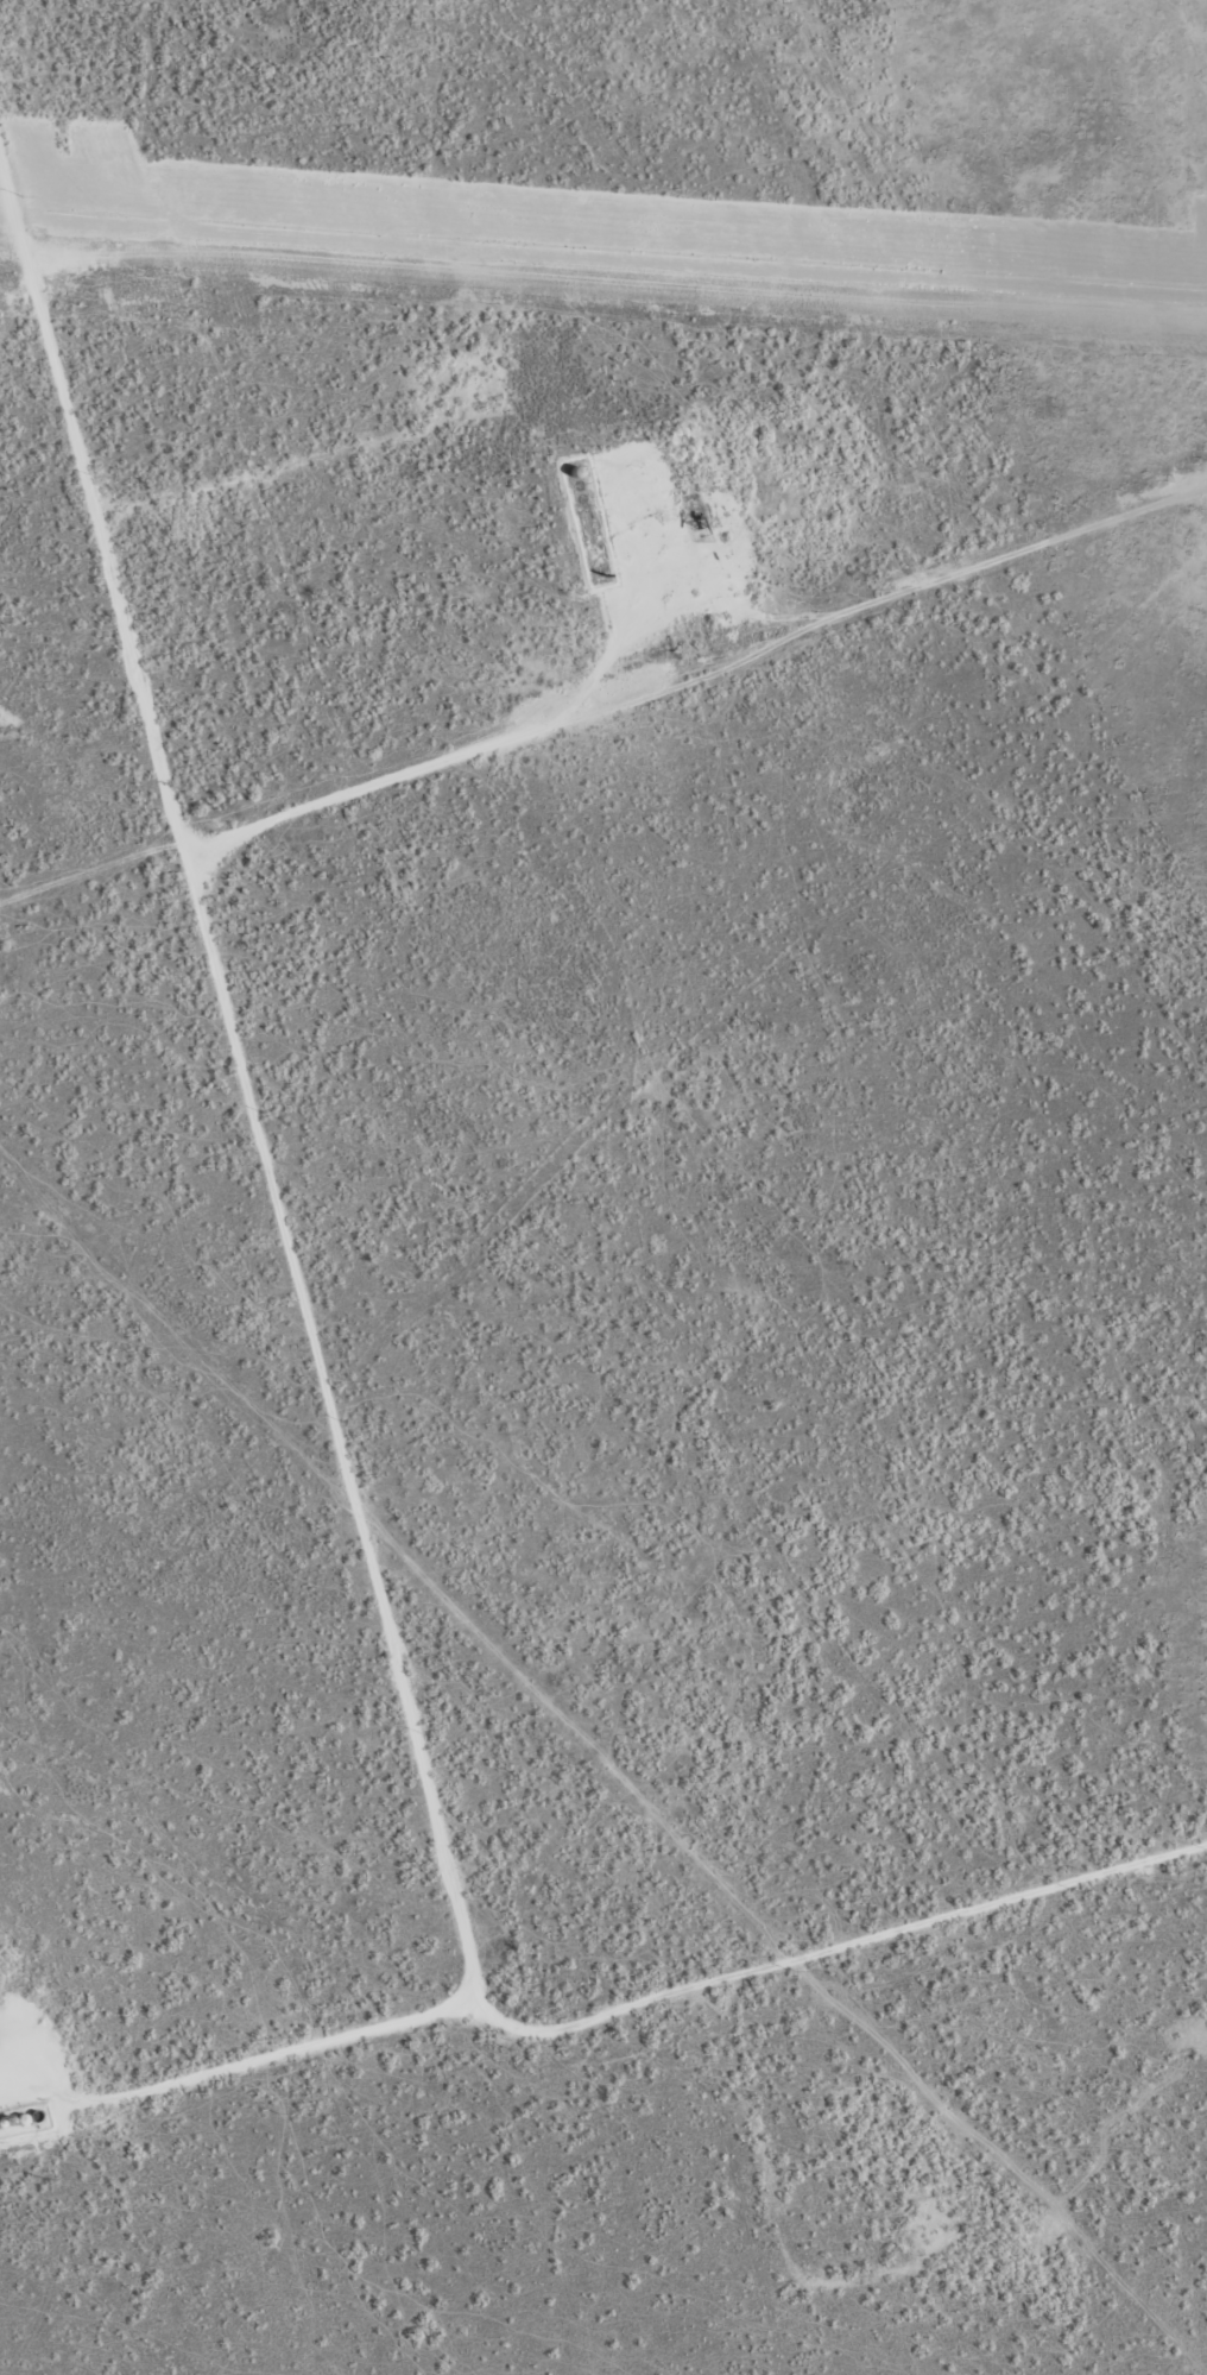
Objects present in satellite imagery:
road: (360, 1398)

